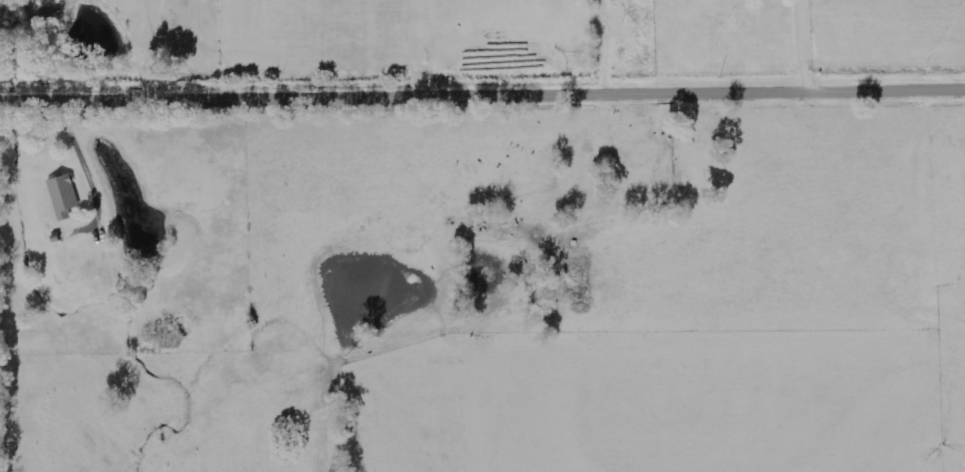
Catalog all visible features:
road: (482, 97)
building: (62, 196)

